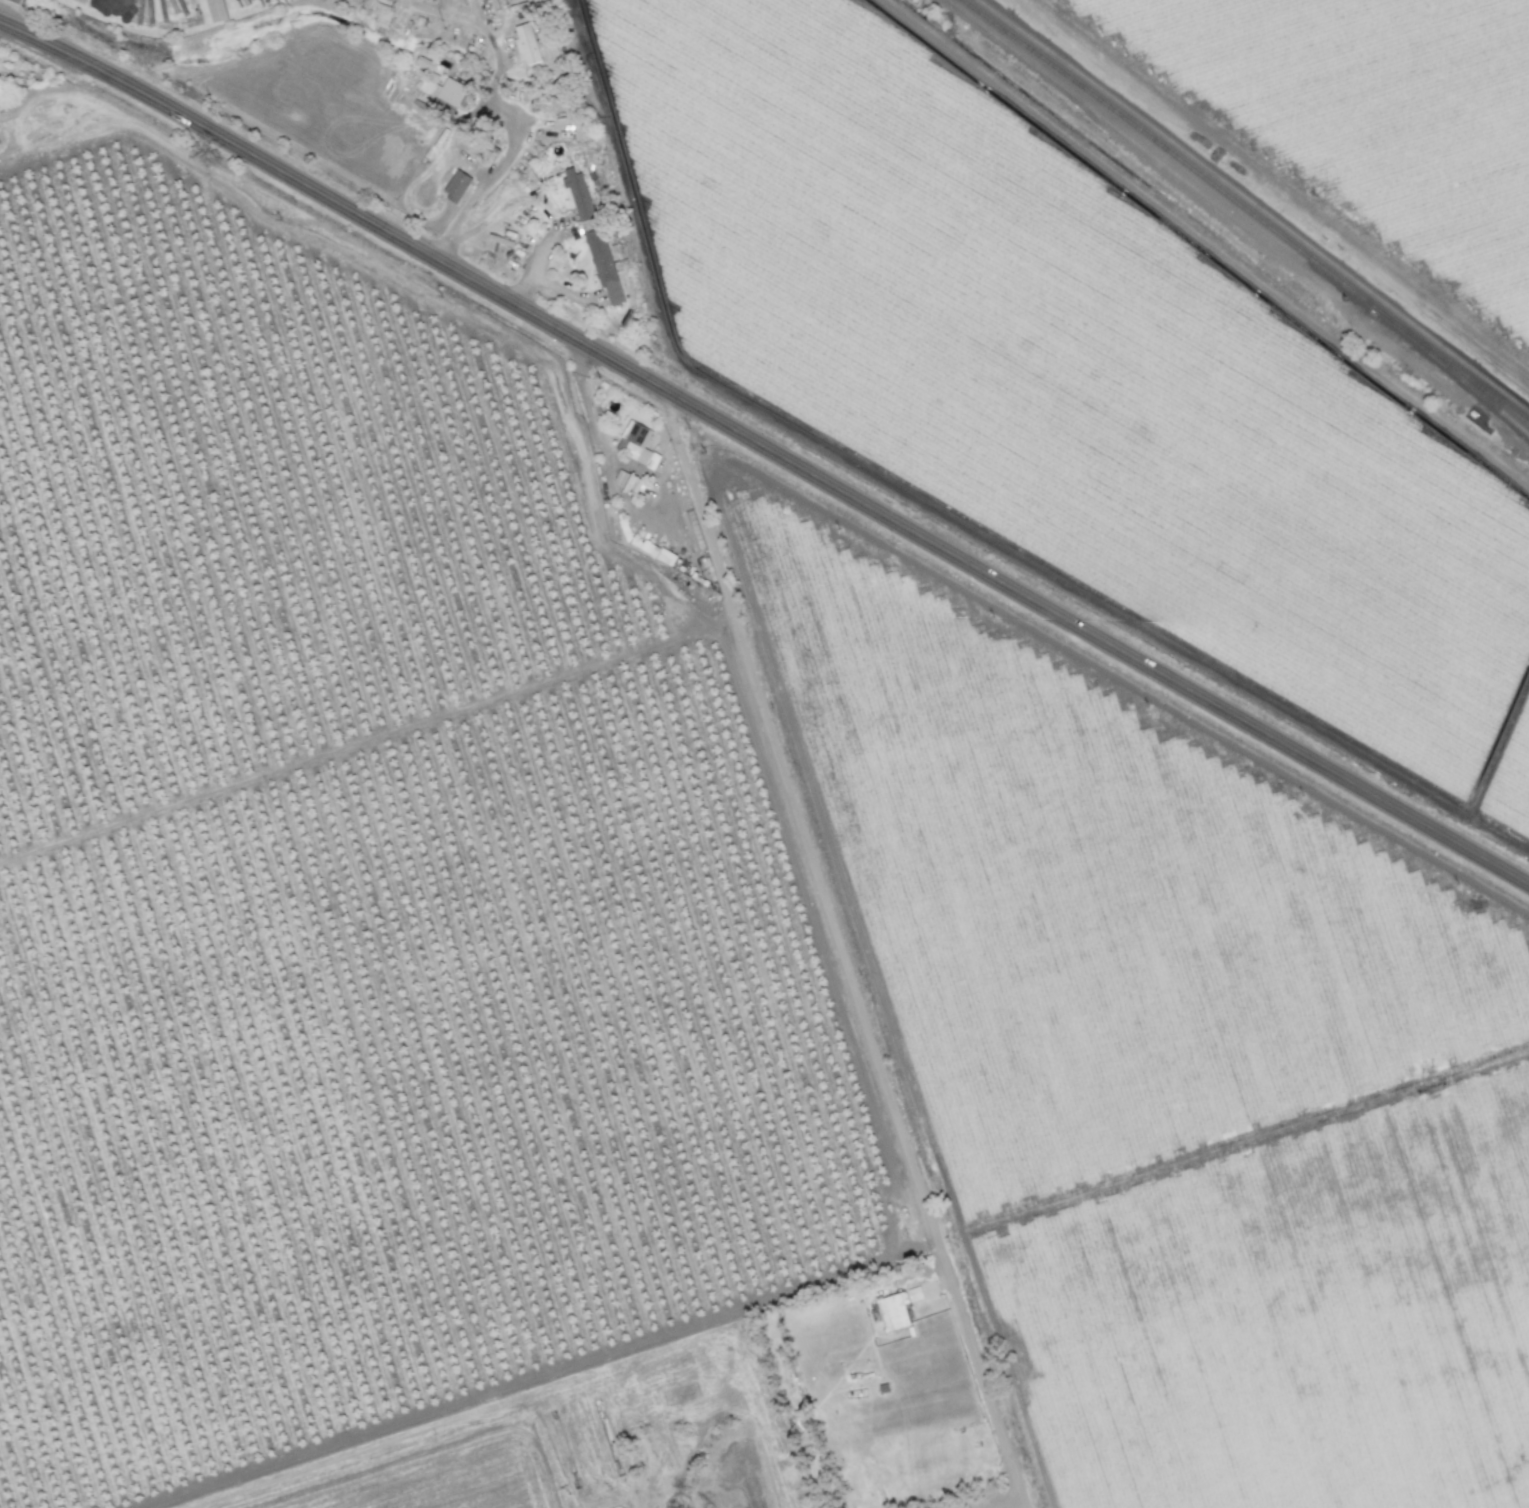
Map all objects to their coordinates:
building: (216, 10)
building: (381, 15)
building: (529, 47)
building: (428, 65)
railway: (1184, 162)
building: (460, 187)
road: (484, 187)
building: (577, 194)
railway: (1245, 195)
road: (534, 264)
building: (602, 264)
road: (558, 290)
railway: (1466, 376)
railway: (1466, 382)
railway: (1519, 399)
railway: (1519, 400)
building: (637, 444)
road: (767, 449)
building: (627, 482)
building: (648, 549)
road: (832, 952)
building: (900, 1306)

